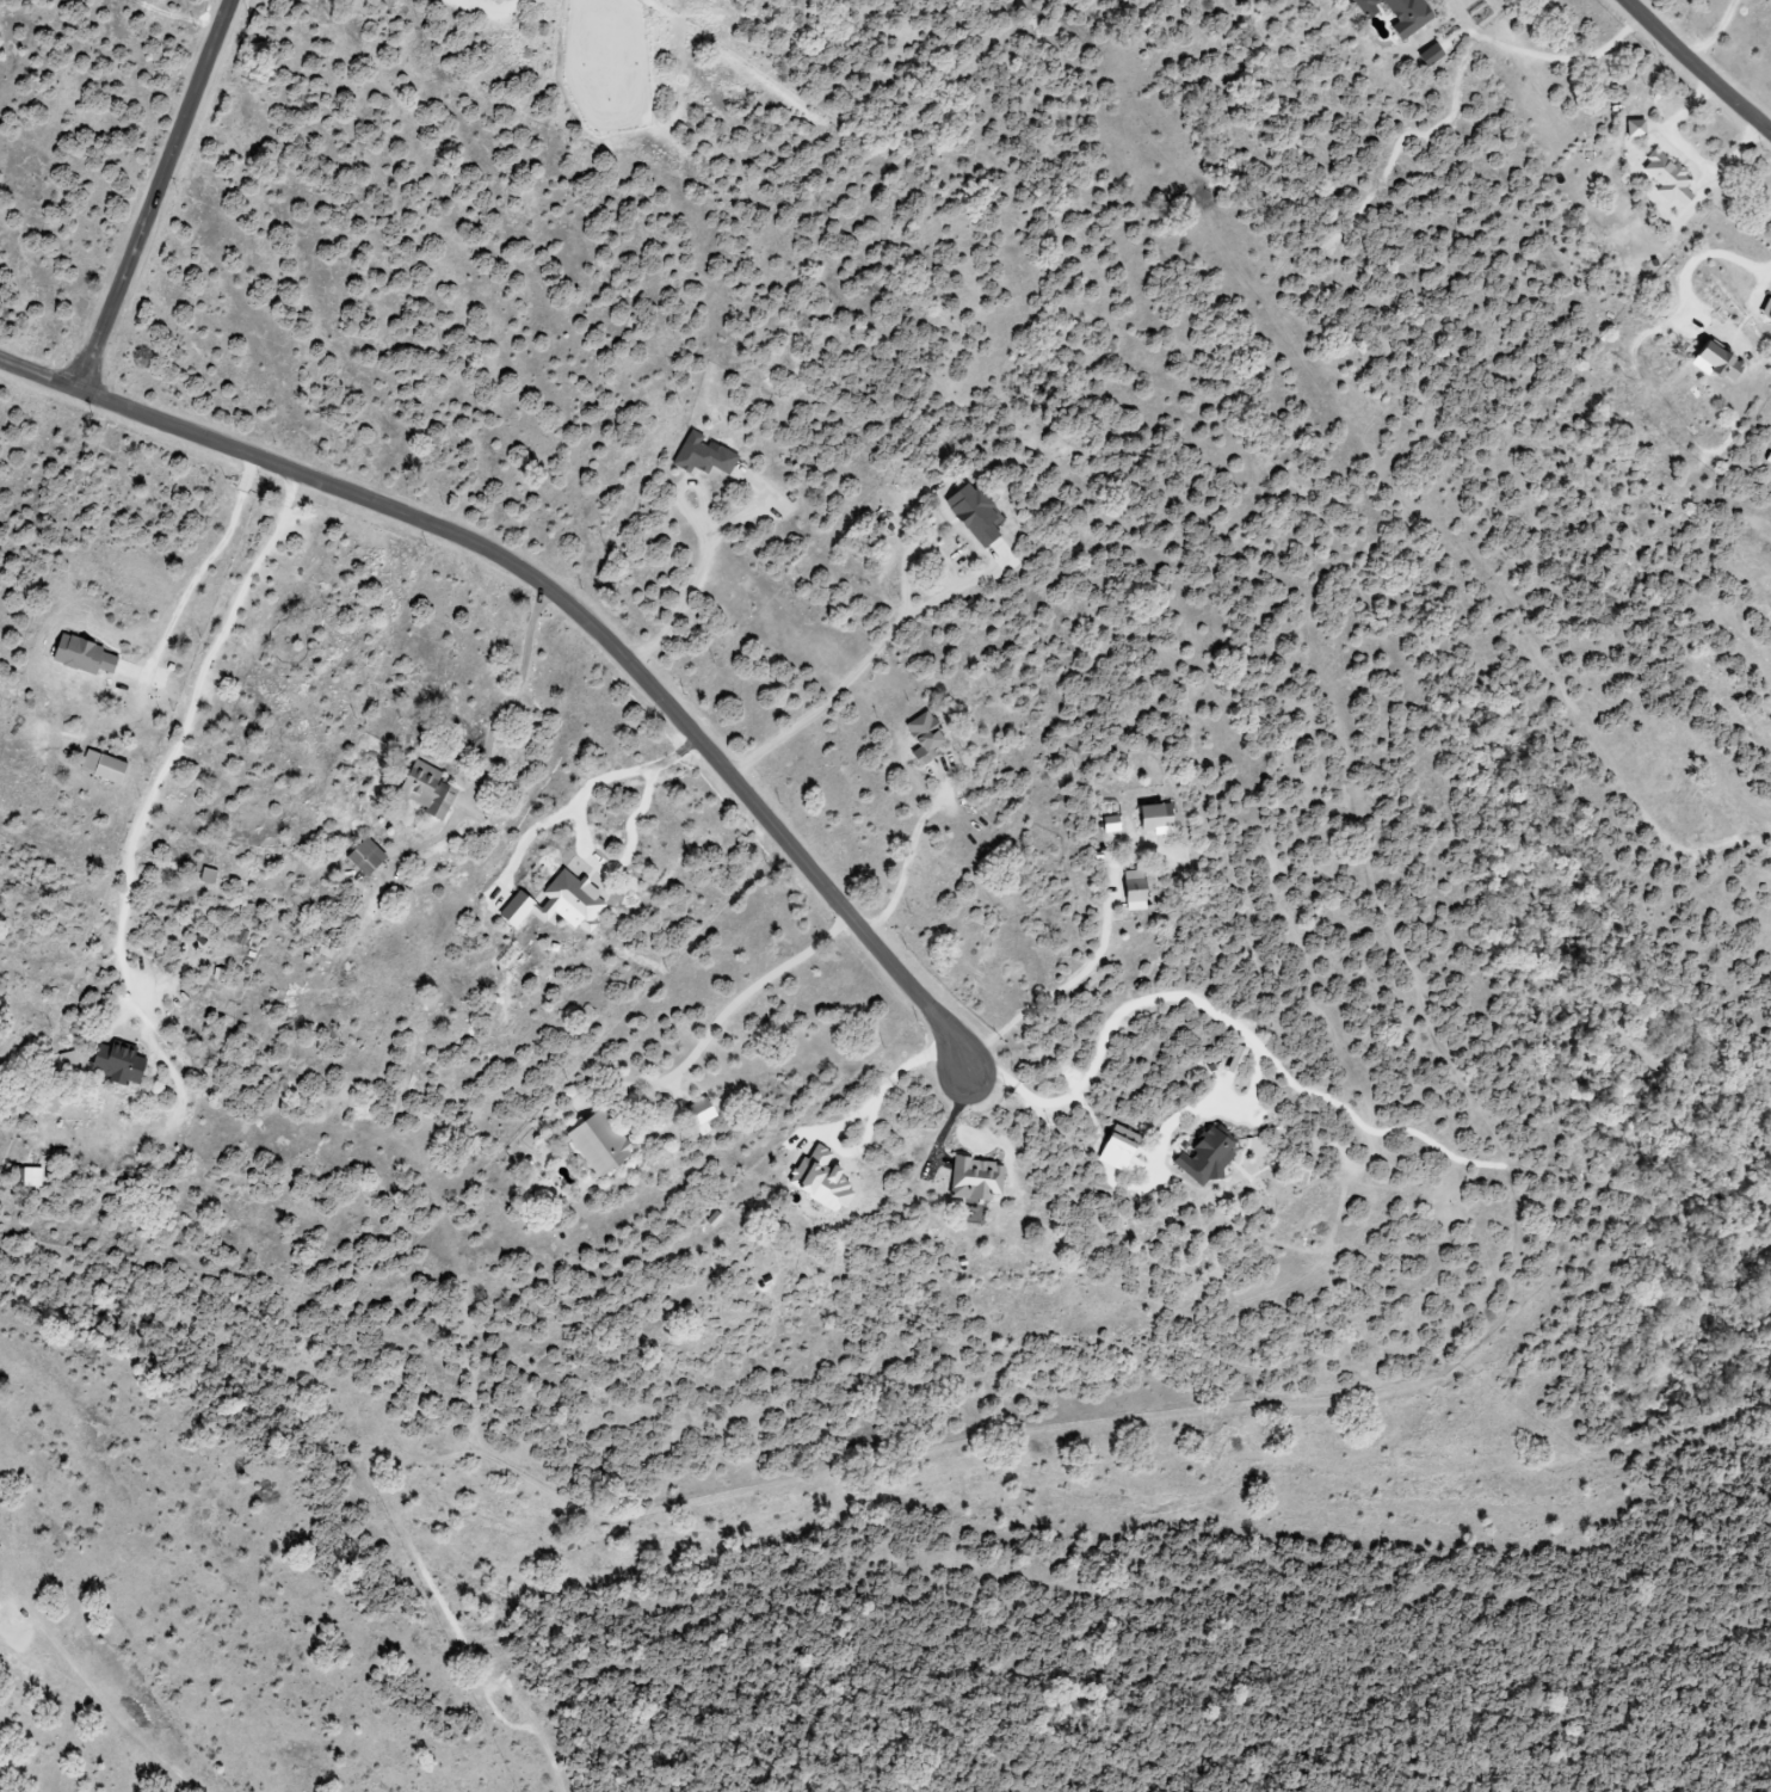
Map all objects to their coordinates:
building: (1394, 14)
road: (1716, 36)
building: (1426, 55)
road: (1562, 61)
road: (1695, 69)
building: (1633, 129)
building: (1664, 178)
road: (156, 196)
road: (1714, 252)
building: (1764, 312)
building: (1710, 362)
building: (705, 455)
building: (1766, 458)
building: (977, 513)
road: (206, 564)
road: (691, 590)
road: (562, 603)
building: (87, 657)
road: (838, 690)
road: (184, 731)
building: (927, 738)
road: (487, 741)
building: (106, 766)
building: (431, 790)
road: (584, 793)
building: (1160, 819)
building: (1112, 824)
building: (369, 857)
road: (906, 868)
building: (210, 876)
building: (1137, 889)
building: (562, 903)
road: (1123, 1011)
road: (720, 1022)
building: (122, 1065)
building: (704, 1116)
road: (870, 1117)
building: (601, 1145)
building: (1122, 1149)
building: (1210, 1157)
building: (35, 1177)
building: (823, 1180)
building: (979, 1180)
building: (715, 1219)

